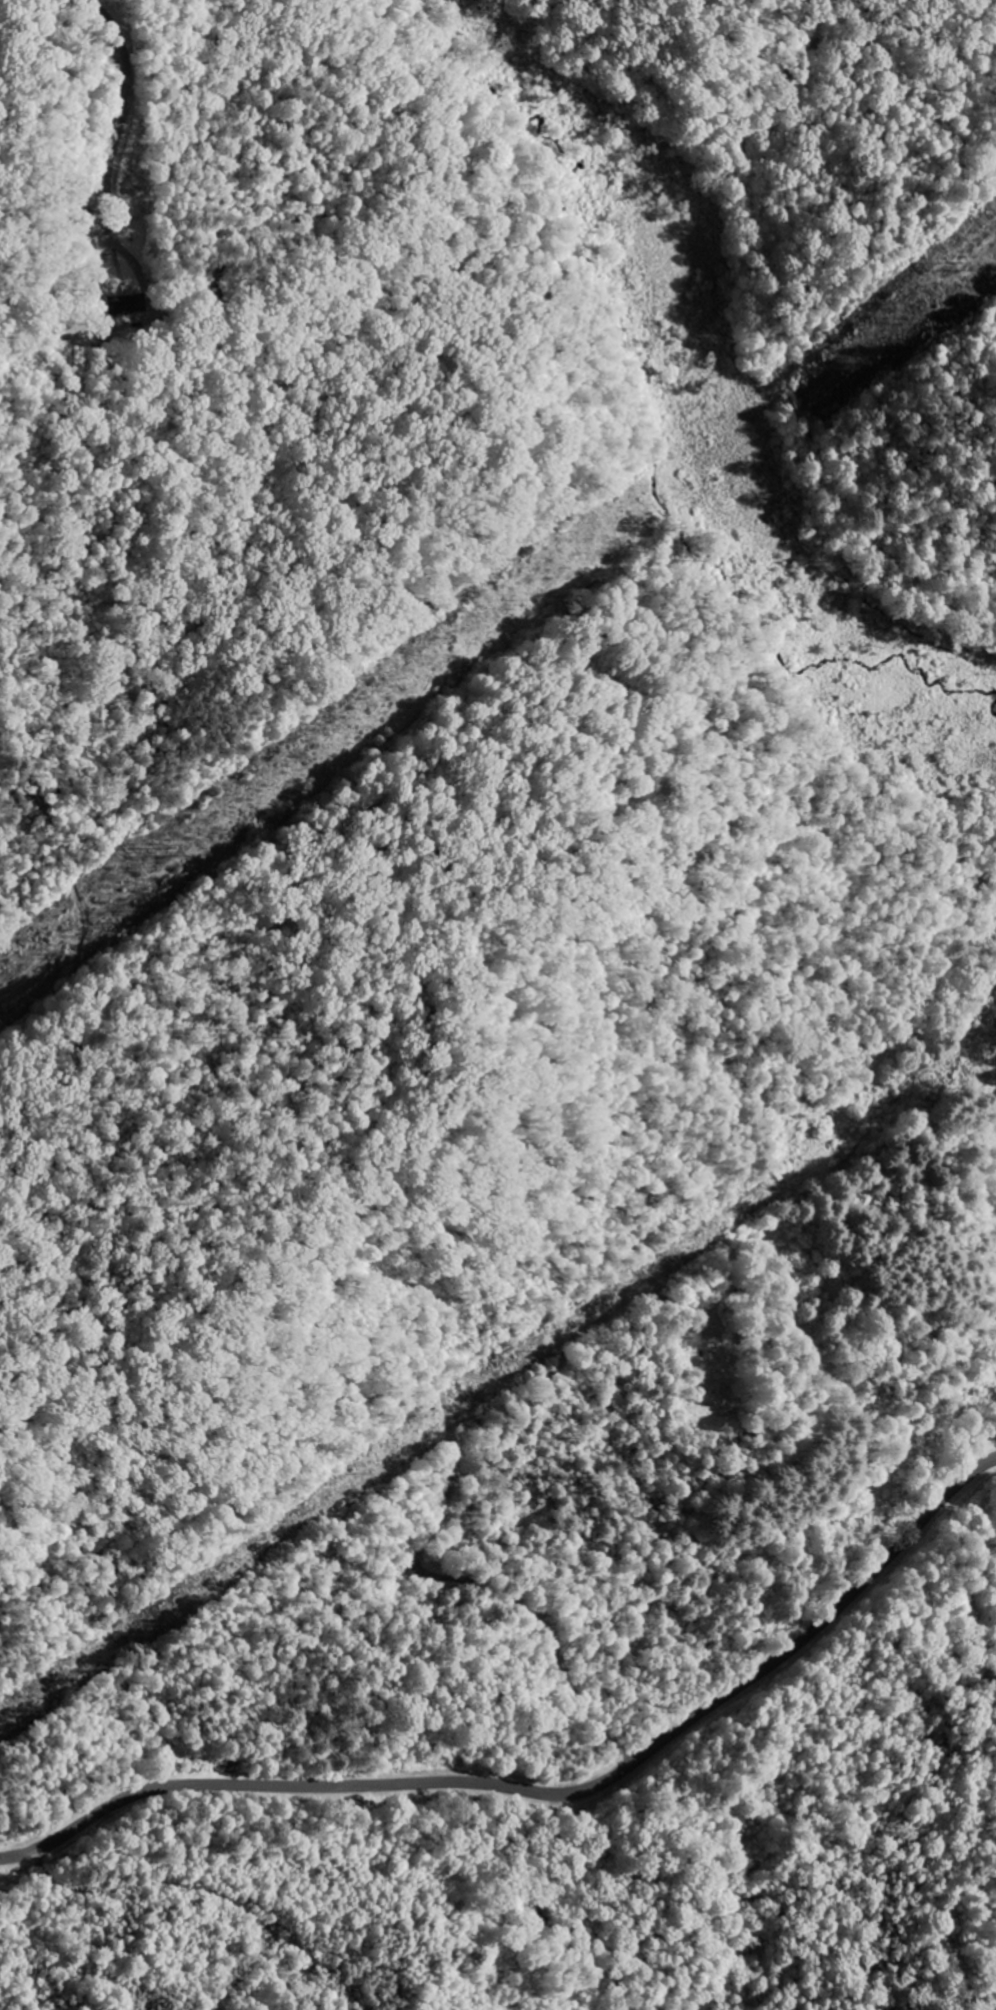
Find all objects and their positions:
road: (127, 79)
building: (122, 304)
power tower: (175, 853)
road: (550, 1795)
road: (192, 1889)

